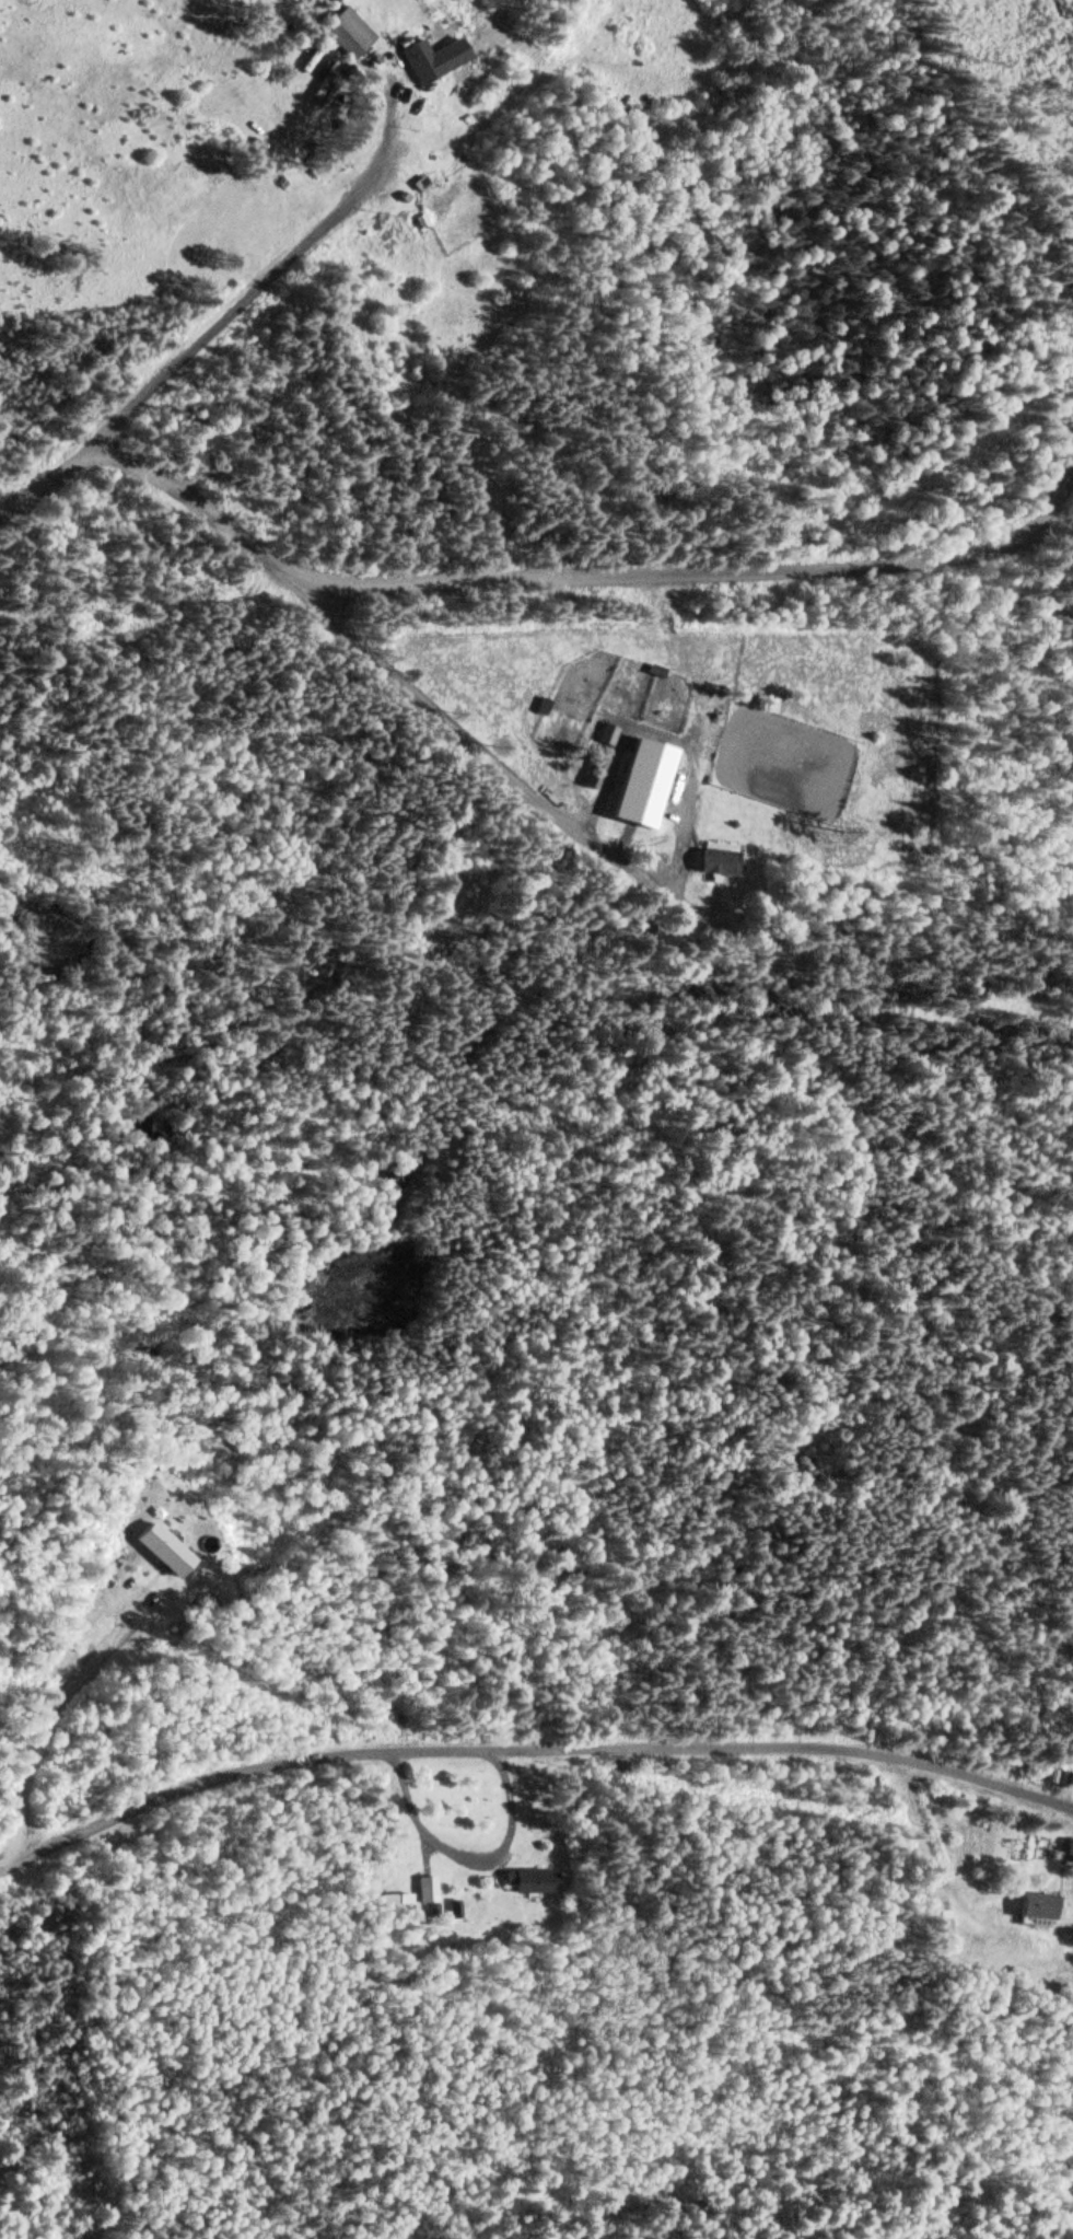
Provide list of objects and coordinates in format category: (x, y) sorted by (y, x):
building: (342, 32)
building: (415, 60)
road: (179, 361)
road: (597, 579)
building: (635, 780)
building: (712, 859)
park: (47, 1368)
road: (530, 1748)
building: (1066, 1848)
building: (528, 1880)
building: (424, 1892)
building: (1030, 1905)

